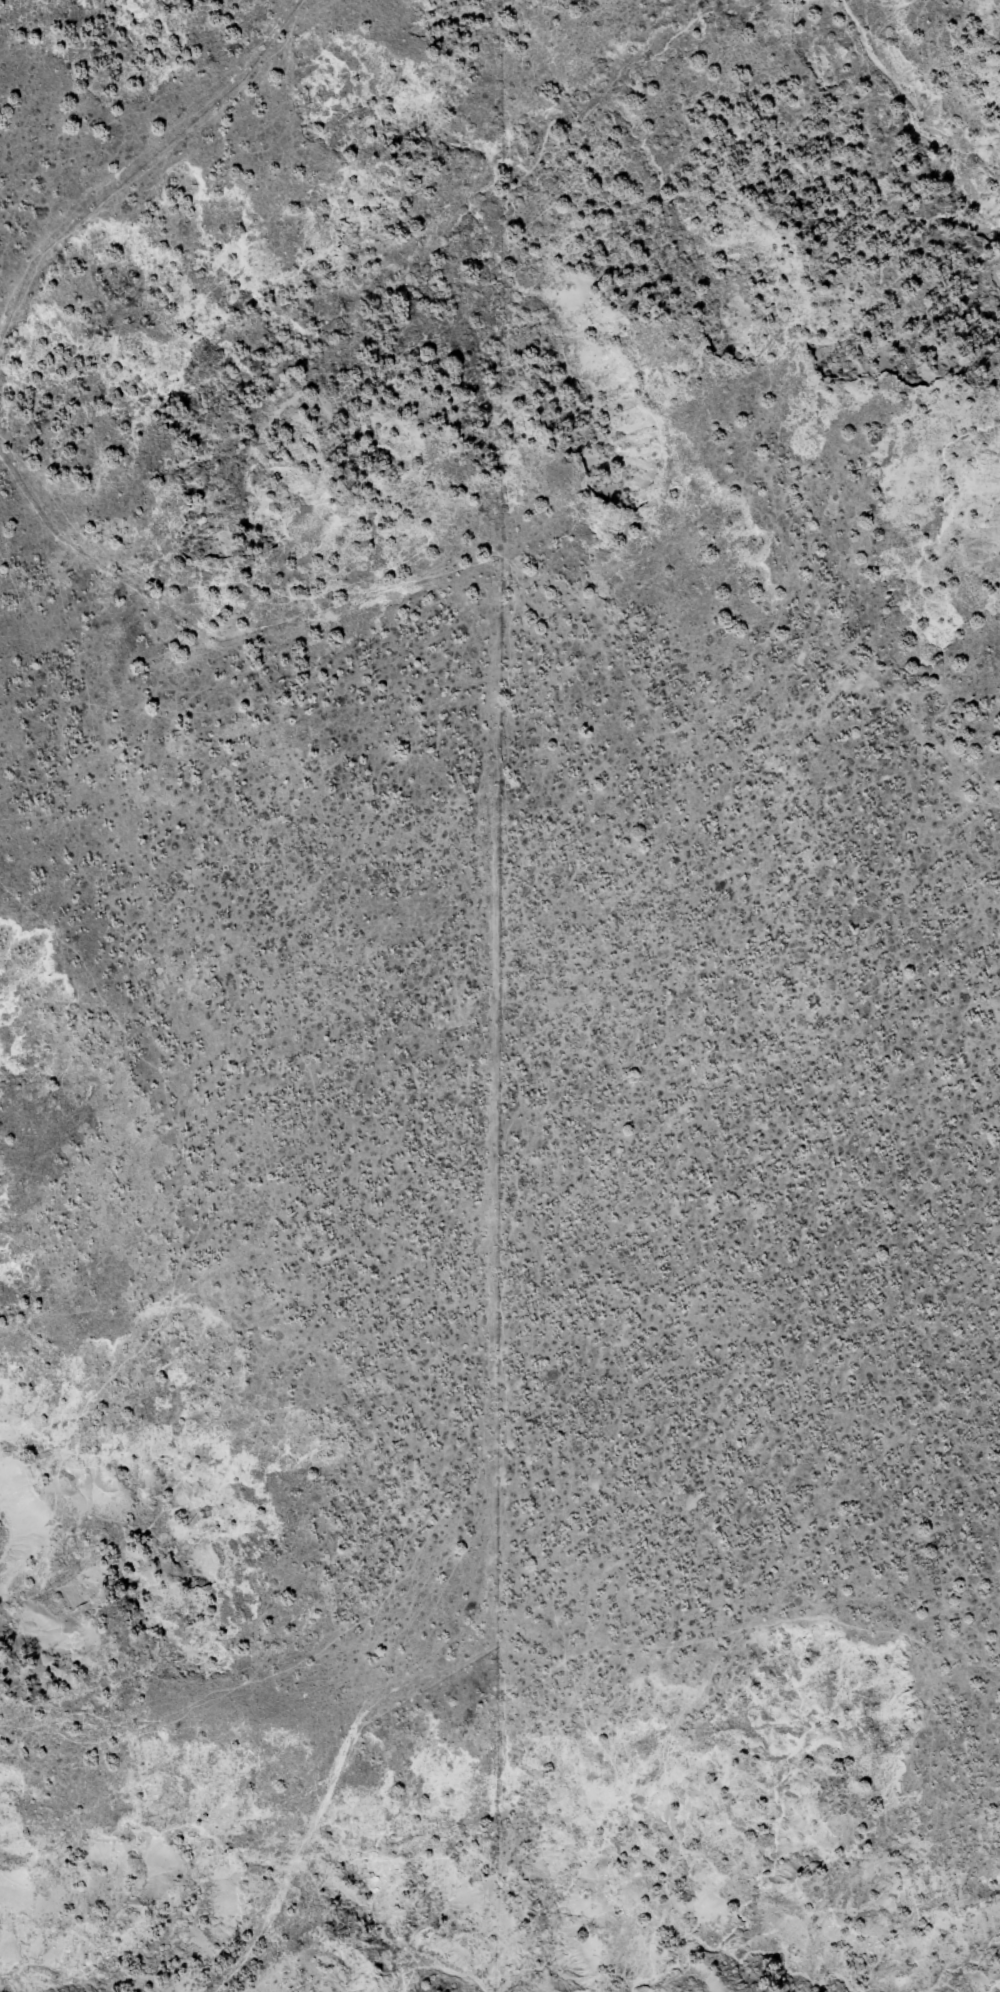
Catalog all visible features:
road: (784, 1635)

